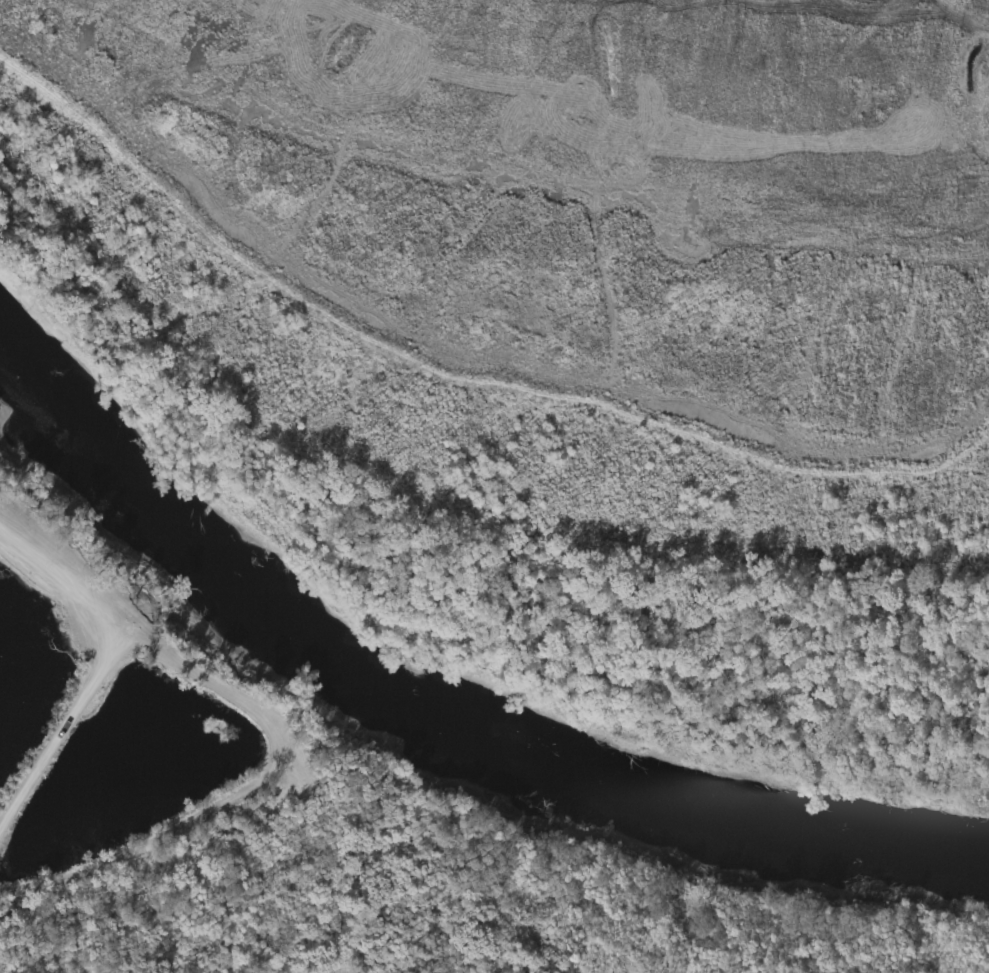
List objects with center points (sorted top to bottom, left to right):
dam: (642, 516)
river: (441, 682)

